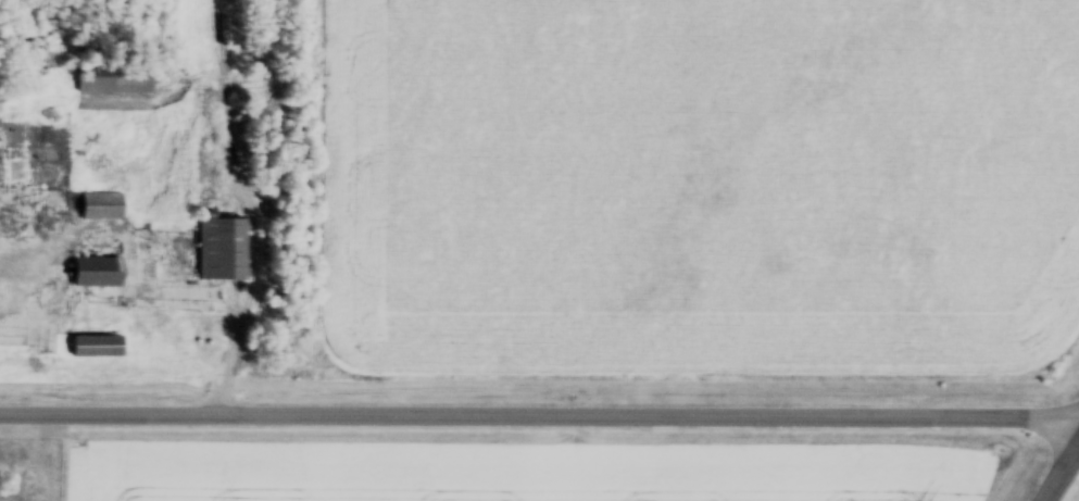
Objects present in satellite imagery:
building: (223, 249)
building: (99, 274)
building: (12, 300)
building: (98, 348)
road: (539, 422)
road: (1066, 480)

